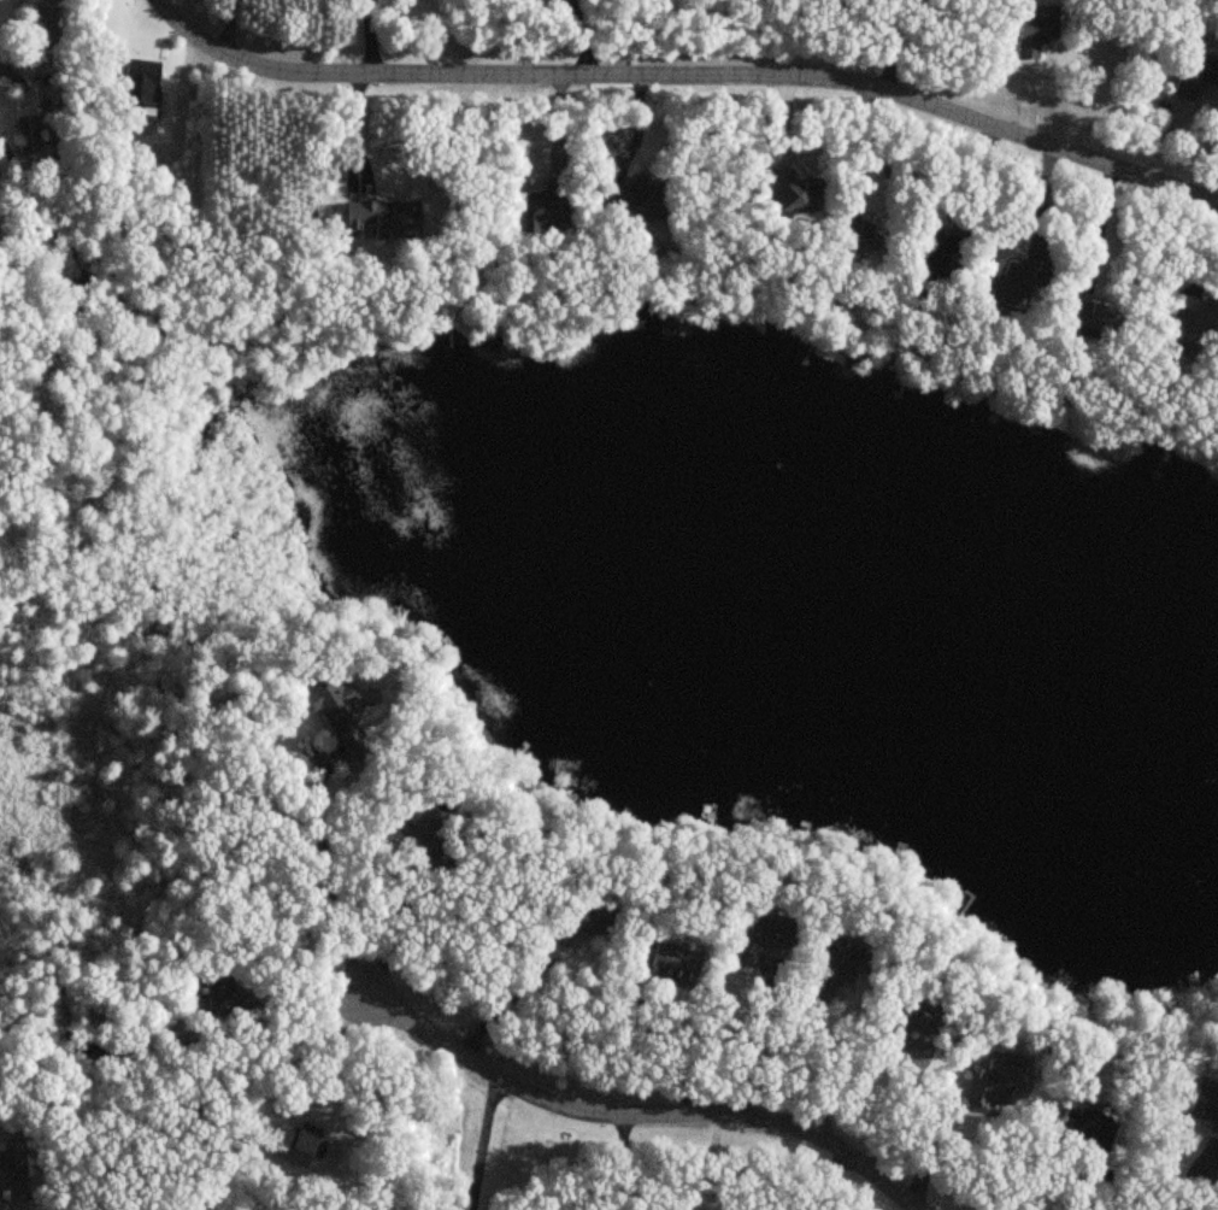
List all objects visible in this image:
building: (49, 29)
building: (1035, 31)
road: (688, 74)
building: (1196, 75)
building: (28, 133)
building: (794, 192)
building: (631, 196)
building: (545, 207)
building: (382, 218)
building: (859, 236)
building: (940, 258)
building: (1016, 282)
building: (1092, 316)
building: (1191, 330)
building: (330, 705)
building: (419, 826)
road: (328, 879)
building: (577, 924)
road: (393, 930)
building: (760, 942)
building: (670, 964)
building: (832, 965)
building: (224, 998)
road: (500, 1003)
building: (911, 1020)
road: (755, 1049)
road: (342, 1050)
road: (673, 1051)
road: (828, 1067)
building: (1002, 1082)
road: (640, 1112)
road: (904, 1112)
building: (1085, 1128)
road: (481, 1143)
road: (620, 1162)
building: (12, 1177)
road: (920, 1209)

